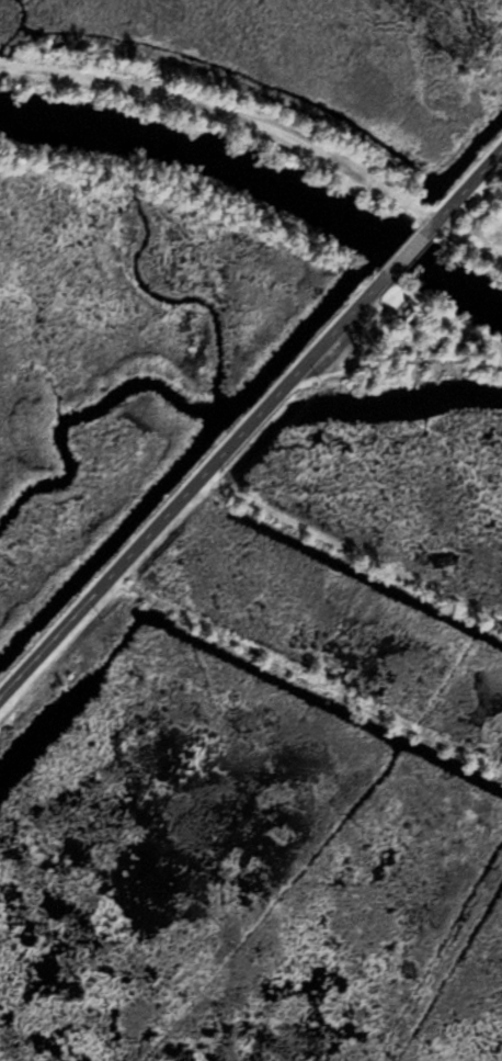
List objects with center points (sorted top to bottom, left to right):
road: (229, 115)
road: (249, 422)
road: (317, 625)
road: (274, 745)

